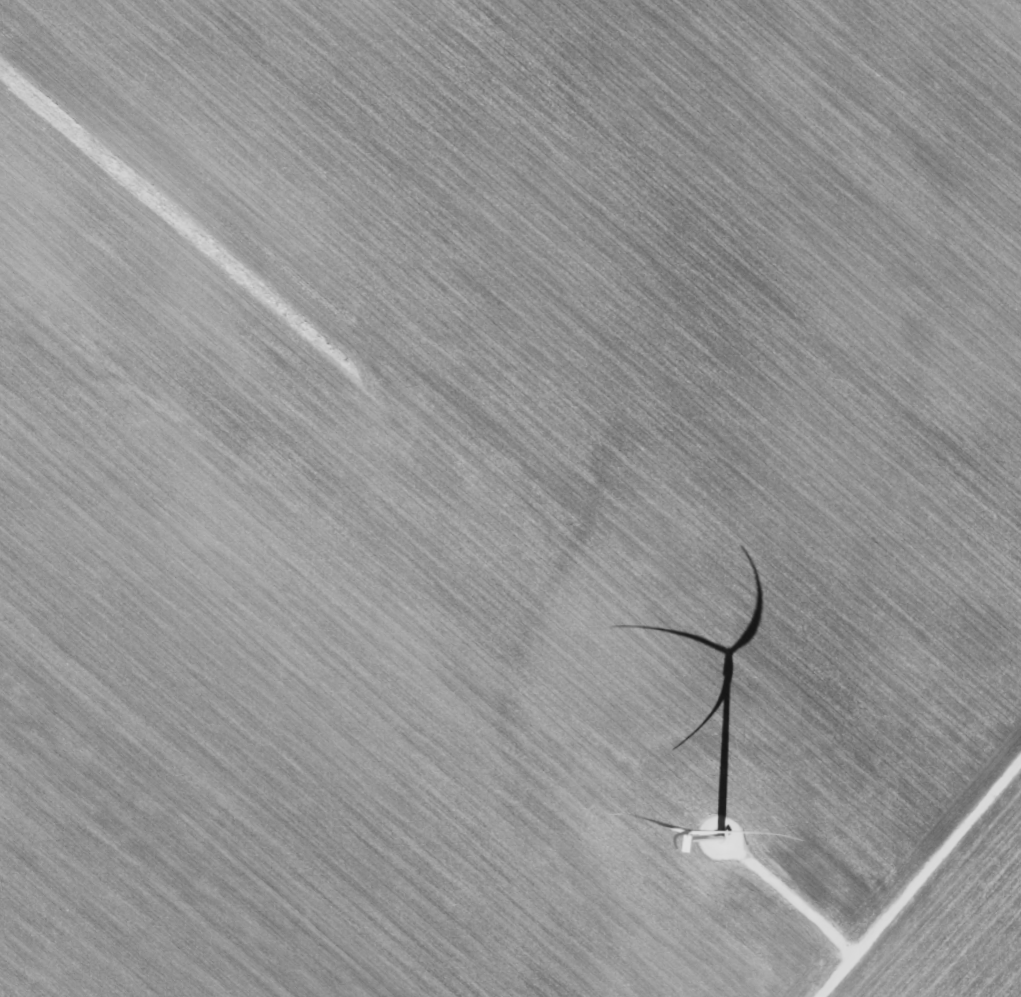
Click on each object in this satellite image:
wind turbine: (721, 836)

